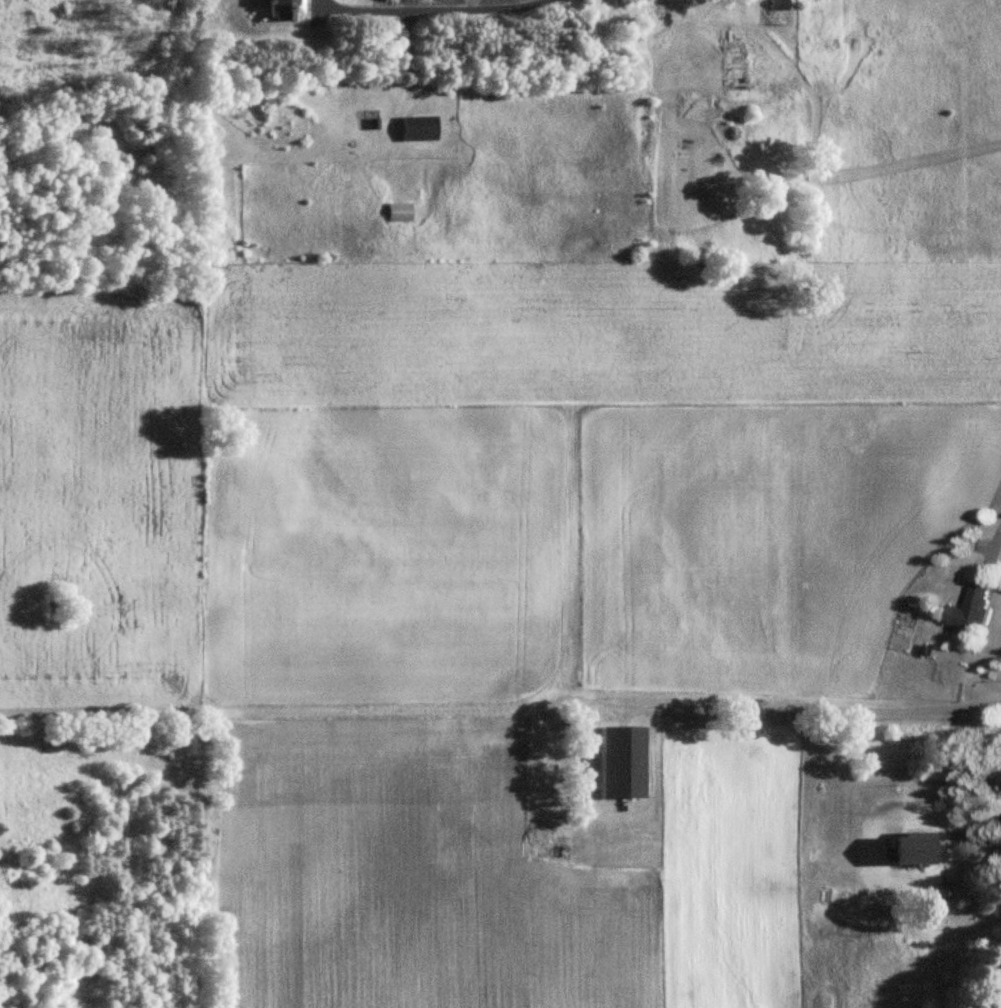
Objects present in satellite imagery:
road: (434, 9)
building: (284, 10)
building: (737, 69)
building: (421, 129)
building: (399, 212)
road: (998, 535)
building: (971, 609)
road: (811, 706)
building: (623, 761)
building: (448, 811)
building: (542, 827)
road: (974, 830)
building: (517, 833)

